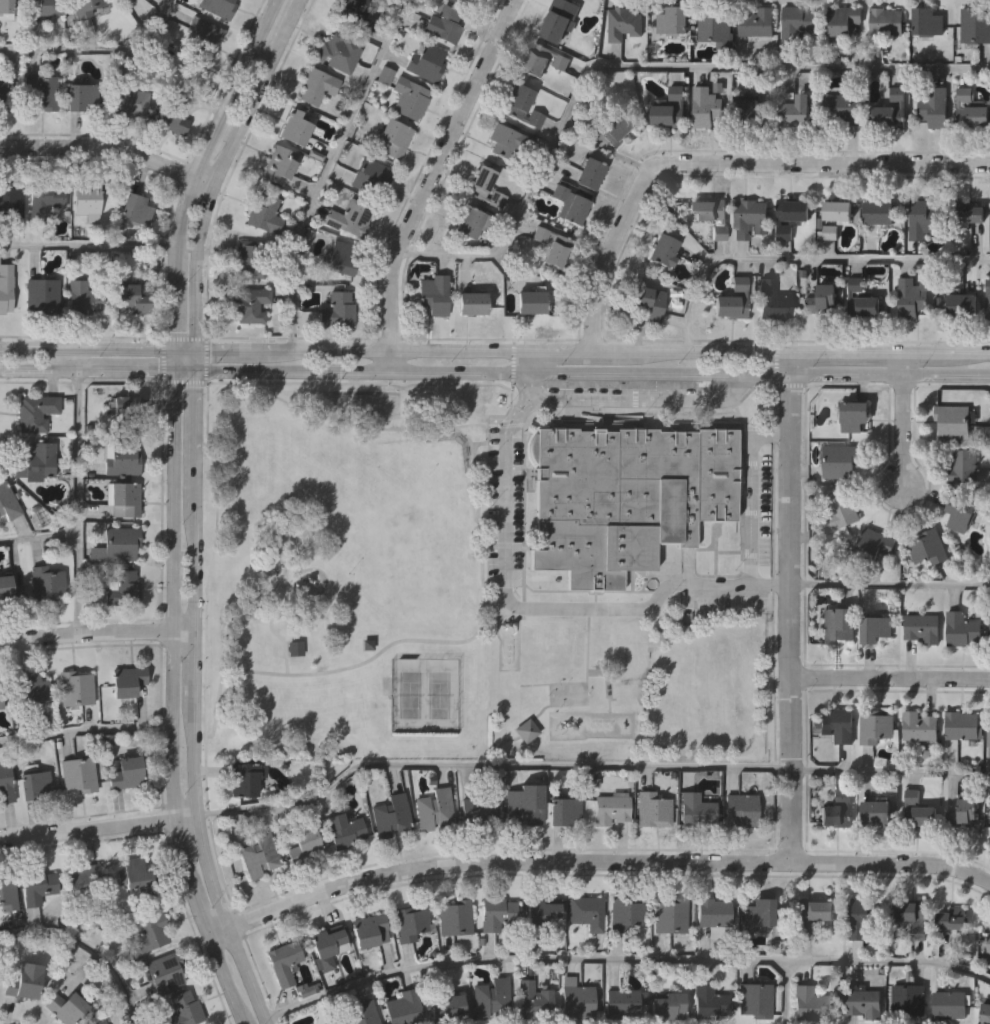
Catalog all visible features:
building: (464, 1)
building: (469, 1)
building: (83, 6)
building: (47, 7)
building: (219, 7)
building: (6, 8)
building: (353, 14)
building: (670, 20)
building: (842, 20)
building: (887, 20)
building: (927, 20)
building: (798, 21)
building: (446, 23)
building: (756, 23)
building: (623, 25)
building: (975, 25)
building: (555, 28)
building: (713, 28)
building: (204, 35)
road: (101, 50)
building: (337, 51)
building: (426, 60)
building: (544, 60)
road: (636, 68)
building: (314, 86)
building: (43, 90)
building: (79, 95)
building: (10, 97)
building: (409, 97)
building: (129, 98)
building: (523, 104)
building: (705, 106)
building: (844, 106)
building: (932, 106)
building: (795, 109)
building: (971, 109)
building: (749, 110)
building: (670, 111)
building: (892, 112)
building: (171, 115)
building: (296, 126)
building: (612, 128)
building: (394, 136)
building: (508, 140)
road: (108, 150)
building: (276, 164)
road: (327, 169)
road: (724, 170)
building: (590, 171)
building: (371, 175)
road: (194, 176)
road: (214, 176)
road: (430, 180)
building: (484, 185)
building: (45, 196)
building: (11, 198)
building: (86, 199)
building: (570, 202)
building: (135, 208)
building: (838, 208)
building: (971, 210)
building: (880, 211)
building: (261, 212)
building: (714, 215)
building: (348, 216)
building: (790, 216)
building: (749, 217)
building: (924, 218)
building: (471, 220)
building: (826, 229)
building: (552, 245)
road: (89, 246)
building: (663, 248)
building: (253, 257)
building: (340, 257)
road: (804, 260)
building: (5, 288)
building: (435, 294)
building: (43, 295)
building: (86, 297)
building: (910, 297)
building: (130, 298)
building: (821, 298)
building: (861, 298)
building: (988, 298)
building: (731, 300)
building: (532, 301)
building: (771, 302)
building: (471, 303)
building: (646, 303)
building: (249, 304)
building: (962, 304)
building: (337, 309)
road: (195, 349)
road: (461, 350)
road: (944, 350)
road: (843, 351)
road: (609, 352)
road: (738, 352)
road: (531, 361)
road: (898, 361)
road: (789, 362)
road: (194, 369)
road: (460, 371)
road: (610, 372)
road: (739, 372)
road: (843, 372)
road: (944, 373)
road: (634, 400)
building: (125, 408)
building: (36, 412)
building: (854, 415)
building: (954, 421)
road: (899, 429)
building: (124, 458)
building: (38, 459)
building: (841, 460)
building: (965, 465)
road: (504, 484)
building: (124, 496)
building: (626, 497)
building: (8, 501)
road: (79, 501)
building: (839, 509)
road: (749, 511)
building: (963, 514)
road: (39, 538)
building: (120, 544)
building: (873, 545)
building: (929, 547)
park: (342, 570)
building: (46, 582)
road: (889, 585)
building: (124, 586)
building: (11, 590)
road: (623, 607)
road: (789, 617)
building: (837, 624)
building: (875, 628)
building: (923, 629)
building: (961, 629)
road: (96, 632)
building: (296, 649)
road: (321, 673)
road: (889, 677)
building: (128, 681)
building: (33, 689)
building: (75, 689)
park: (410, 695)
park: (439, 695)
building: (1, 698)
road: (172, 702)
road: (192, 702)
building: (838, 725)
building: (920, 726)
building: (963, 726)
building: (876, 727)
building: (527, 729)
road: (85, 731)
building: (989, 743)
road: (486, 765)
building: (79, 771)
building: (128, 771)
road: (890, 772)
building: (245, 777)
building: (34, 781)
building: (6, 782)
building: (522, 805)
building: (434, 808)
building: (564, 808)
building: (611, 808)
building: (654, 808)
building: (695, 808)
building: (478, 809)
building: (743, 809)
building: (839, 809)
building: (877, 810)
building: (917, 811)
building: (964, 811)
building: (391, 814)
road: (97, 826)
building: (345, 829)
building: (305, 844)
building: (260, 853)
road: (594, 861)
building: (134, 872)
building: (80, 878)
building: (38, 885)
building: (8, 891)
building: (541, 909)
building: (758, 910)
building: (497, 911)
building: (588, 911)
building: (713, 911)
building: (626, 912)
building: (671, 914)
building: (807, 915)
building: (863, 917)
building: (912, 917)
building: (456, 918)
building: (951, 918)
building: (410, 920)
building: (150, 929)
building: (370, 929)
building: (989, 945)
building: (327, 946)
road: (88, 950)
building: (285, 960)
road: (623, 961)
building: (165, 972)
building: (25, 980)
road: (785, 992)
building: (491, 997)
building: (577, 998)
building: (755, 998)
building: (534, 1000)
building: (864, 1000)
building: (908, 1000)
building: (710, 1001)
building: (622, 1002)
building: (809, 1002)
building: (668, 1005)
building: (66, 1006)
building: (949, 1006)
building: (401, 1008)
building: (445, 1008)
building: (185, 1010)
building: (361, 1013)
building: (985, 1013)
building: (100, 1022)

